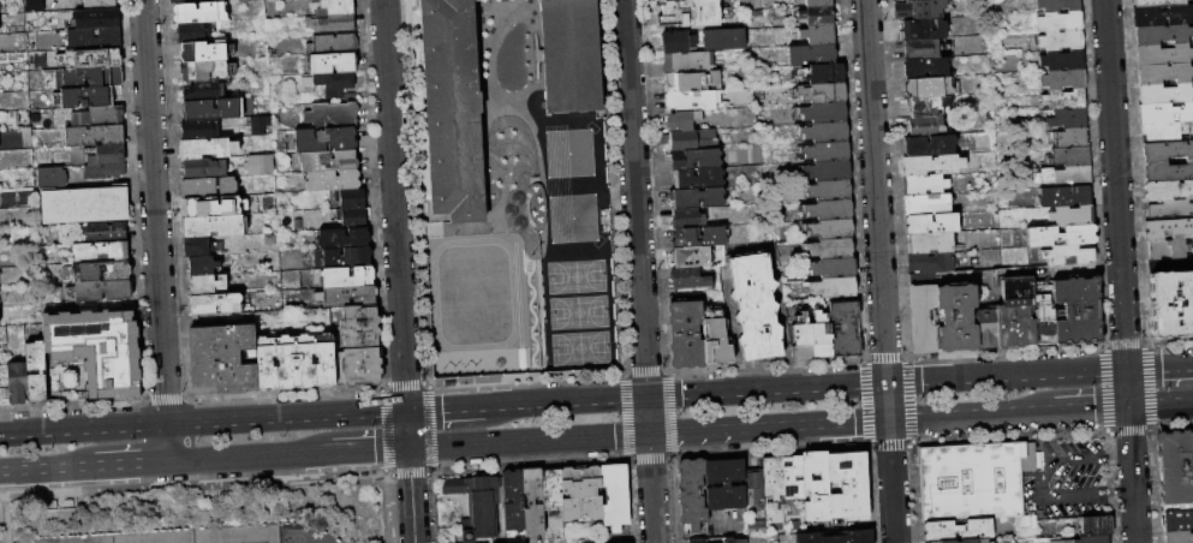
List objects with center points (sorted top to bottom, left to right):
building: (908, 0)
building: (183, 1)
building: (205, 1)
building: (97, 2)
building: (818, 2)
building: (1157, 2)
building: (1058, 5)
building: (35, 6)
building: (333, 7)
building: (919, 10)
building: (688, 12)
building: (199, 13)
building: (817, 14)
building: (1163, 16)
building: (103, 18)
building: (1060, 22)
building: (330, 24)
building: (918, 30)
building: (193, 32)
building: (1163, 34)
building: (819, 35)
building: (95, 38)
building: (724, 40)
building: (1062, 40)
building: (678, 42)
building: (335, 43)
building: (921, 49)
building: (203, 52)
building: (1163, 54)
building: (811, 55)
building: (571, 56)
building: (1062, 59)
building: (47, 62)
building: (688, 62)
building: (333, 64)
building: (925, 68)
building: (203, 71)
building: (1164, 73)
building: (823, 74)
building: (93, 78)
building: (714, 78)
building: (1064, 78)
building: (332, 82)
building: (684, 82)
building: (927, 89)
building: (204, 91)
building: (823, 93)
building: (1165, 93)
building: (333, 96)
building: (87, 99)
building: (1062, 100)
building: (693, 101)
building: (926, 107)
building: (214, 109)
building: (452, 109)
building: (824, 113)
building: (1165, 113)
building: (333, 115)
building: (99, 117)
building: (1069, 119)
building: (682, 120)
building: (261, 125)
building: (925, 126)
building: (201, 130)
building: (825, 132)
building: (1162, 133)
building: (95, 136)
building: (1070, 137)
building: (688, 138)
building: (326, 139)
building: (930, 145)
building: (207, 149)
building: (827, 151)
building: (1167, 151)
park: (567, 153)
building: (108, 155)
building: (1070, 156)
building: (694, 160)
building: (329, 161)
building: (260, 165)
building: (932, 165)
building: (204, 168)
building: (105, 171)
building: (827, 171)
building: (1168, 171)
building: (1063, 177)
building: (52, 178)
building: (698, 179)
building: (333, 181)
building: (925, 185)
building: (209, 187)
building: (829, 190)
road: (876, 191)
building: (1168, 191)
road: (621, 192)
building: (1063, 197)
building: (353, 198)
road: (634, 198)
building: (697, 198)
building: (927, 204)
building: (85, 207)
building: (201, 207)
road: (427, 207)
building: (830, 210)
building: (1171, 210)
road: (154, 211)
building: (1072, 215)
building: (354, 217)
park: (571, 217)
building: (687, 219)
road: (440, 220)
building: (932, 223)
building: (214, 226)
building: (1169, 228)
building: (831, 229)
building: (108, 232)
building: (1061, 235)
building: (344, 238)
building: (699, 238)
building: (931, 244)
building: (198, 247)
building: (831, 249)
building: (1168, 249)
building: (101, 252)
flagpole: (531, 252)
building: (1068, 256)
building: (690, 257)
building: (342, 258)
building: (930, 263)
building: (203, 267)
building: (833, 268)
road: (1121, 270)
road: (398, 271)
building: (102, 273)
park: (574, 275)
building: (344, 278)
building: (690, 279)
building: (208, 285)
road: (535, 285)
building: (834, 287)
building: (103, 292)
building: (347, 297)
building: (216, 304)
building: (1171, 304)
building: (756, 306)
park: (577, 311)
building: (1078, 311)
building: (1015, 314)
building: (956, 318)
building: (924, 320)
building: (1043, 320)
building: (360, 328)
building: (845, 329)
building: (985, 329)
building: (686, 334)
building: (821, 336)
building: (801, 338)
building: (716, 339)
park: (578, 346)
building: (97, 350)
building: (221, 359)
building: (296, 363)
building: (357, 366)
road: (1159, 366)
traffic signals: (1127, 369)
building: (36, 372)
road: (1007, 376)
building: (18, 383)
traffic signals: (887, 383)
road: (766, 389)
building: (5, 396)
traffic signals: (646, 396)
road: (565, 401)
road: (888, 401)
road: (1161, 402)
traffic signals: (1129, 405)
road: (1092, 407)
road: (445, 408)
traffic signals: (406, 411)
road: (648, 414)
road: (972, 414)
traffic signals: (889, 419)
road: (202, 422)
road: (769, 426)
traffic signals: (649, 434)
road: (529, 440)
road: (167, 442)
traffic signals: (408, 447)
road: (368, 448)
road: (1119, 454)
road: (249, 457)
road: (130, 464)
road: (46, 467)
building: (1176, 470)
road: (1048, 477)
parking lot: (1070, 477)
building: (774, 478)
building: (793, 478)
road: (893, 481)
building: (974, 481)
building: (726, 485)
building: (754, 487)
building: (848, 487)
road: (651, 488)
building: (817, 488)
building: (553, 490)
road: (1121, 493)
building: (581, 494)
building: (692, 494)
building: (615, 496)
building: (513, 500)
building: (533, 502)
building: (477, 505)
building: (1177, 521)
building: (1097, 526)
building: (958, 531)
parking lot: (302, 535)
building: (837, 537)
building: (1179, 537)
building: (1088, 539)
building: (696, 541)
building: (715, 541)
building: (733, 541)
park: (252, 542)
building: (949, 542)

